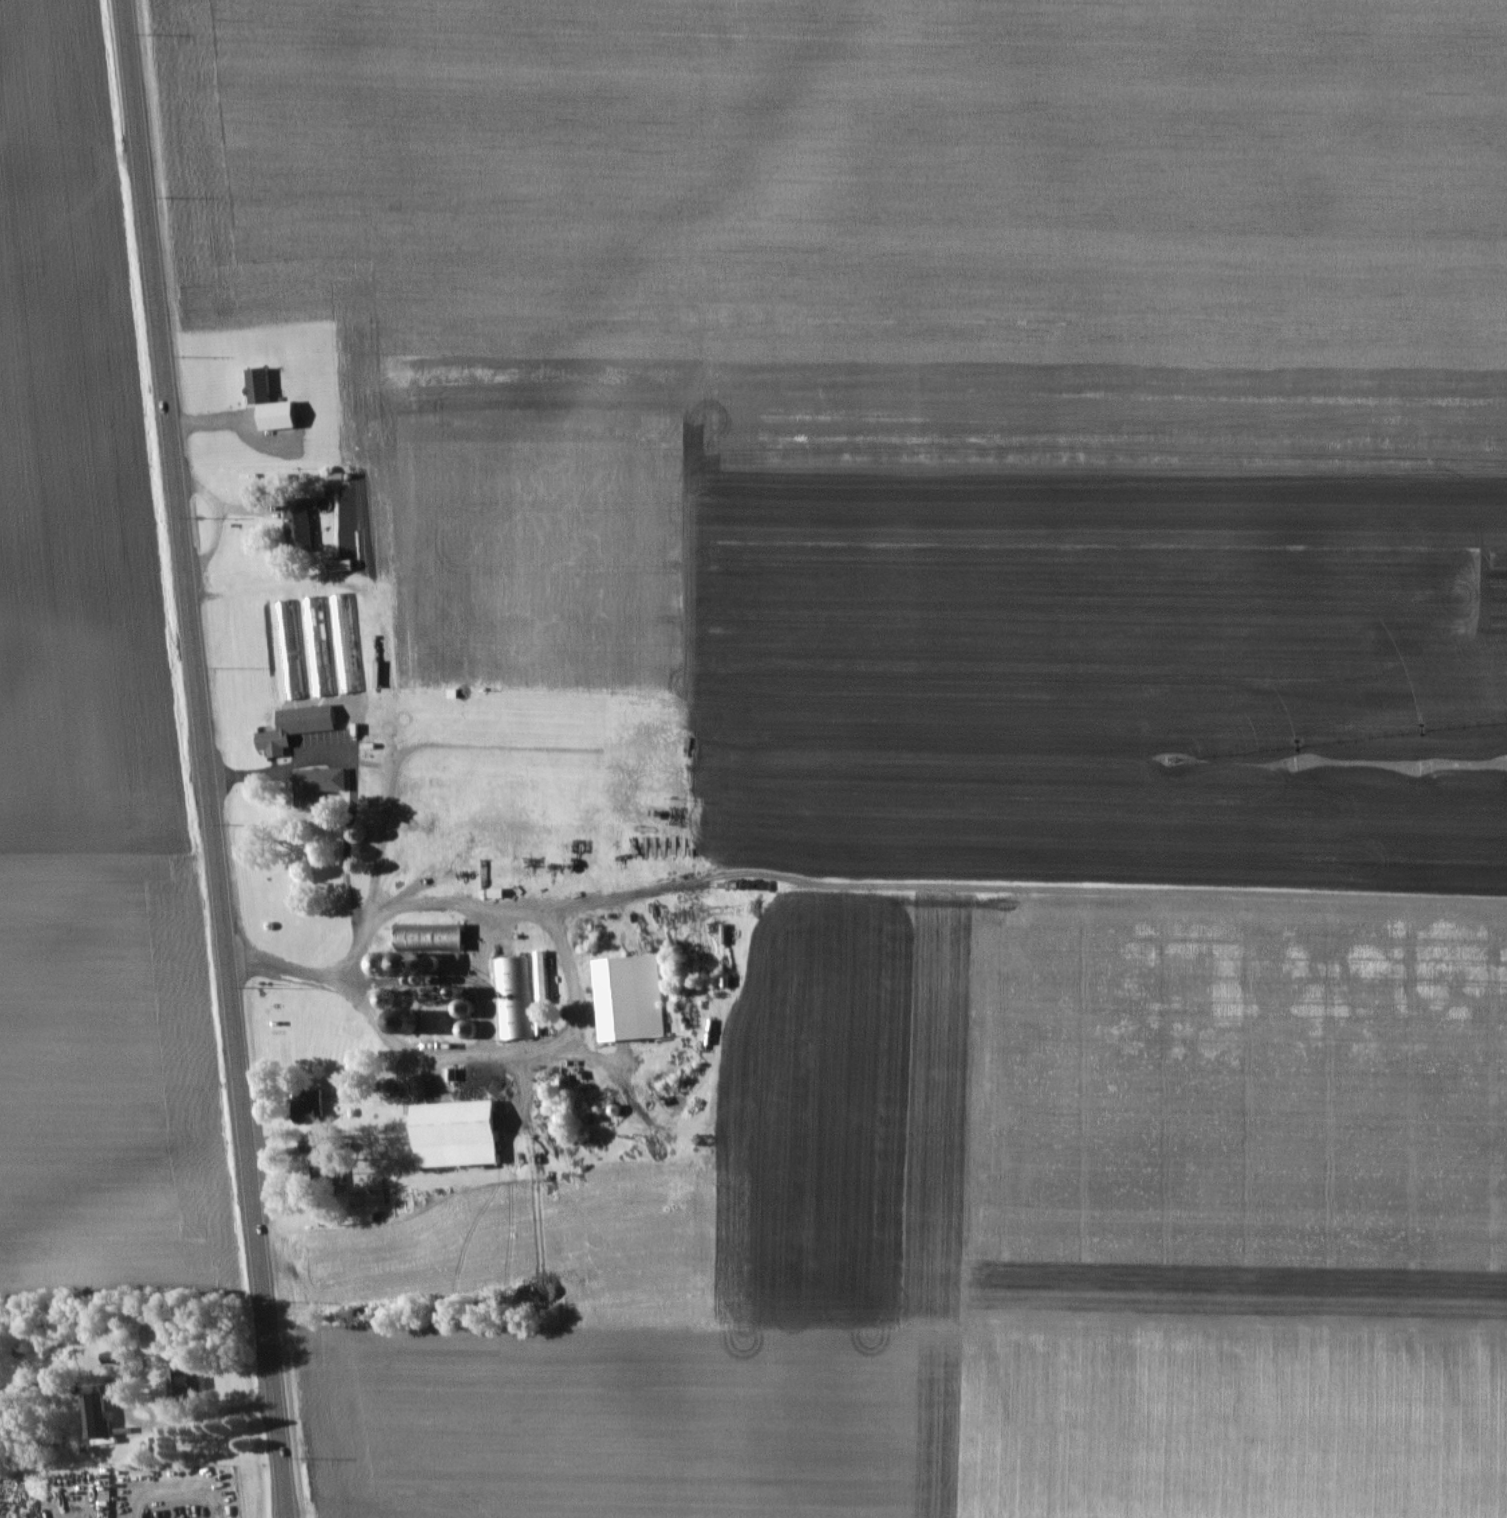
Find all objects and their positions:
building: (302, 524)
building: (341, 617)
building: (318, 646)
building: (289, 649)
building: (298, 727)
road: (205, 759)
road: (374, 766)
building: (318, 785)
building: (432, 935)
road: (567, 953)
building: (513, 997)
building: (632, 997)
road: (380, 1020)
building: (311, 1106)
building: (460, 1133)
building: (184, 1382)
road: (205, 1415)
building: (99, 1416)

